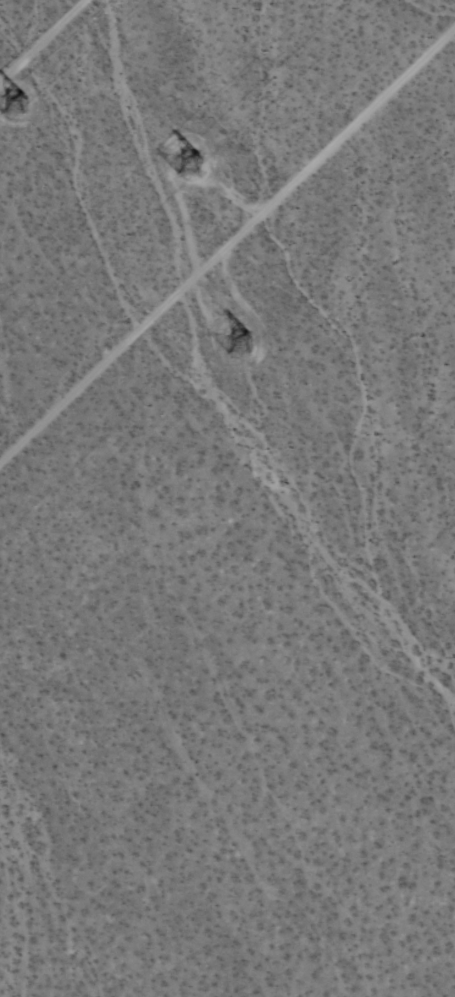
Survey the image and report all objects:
road: (42, 40)
power tower: (8, 102)
power tower: (190, 168)
road: (227, 244)
power tower: (248, 338)

